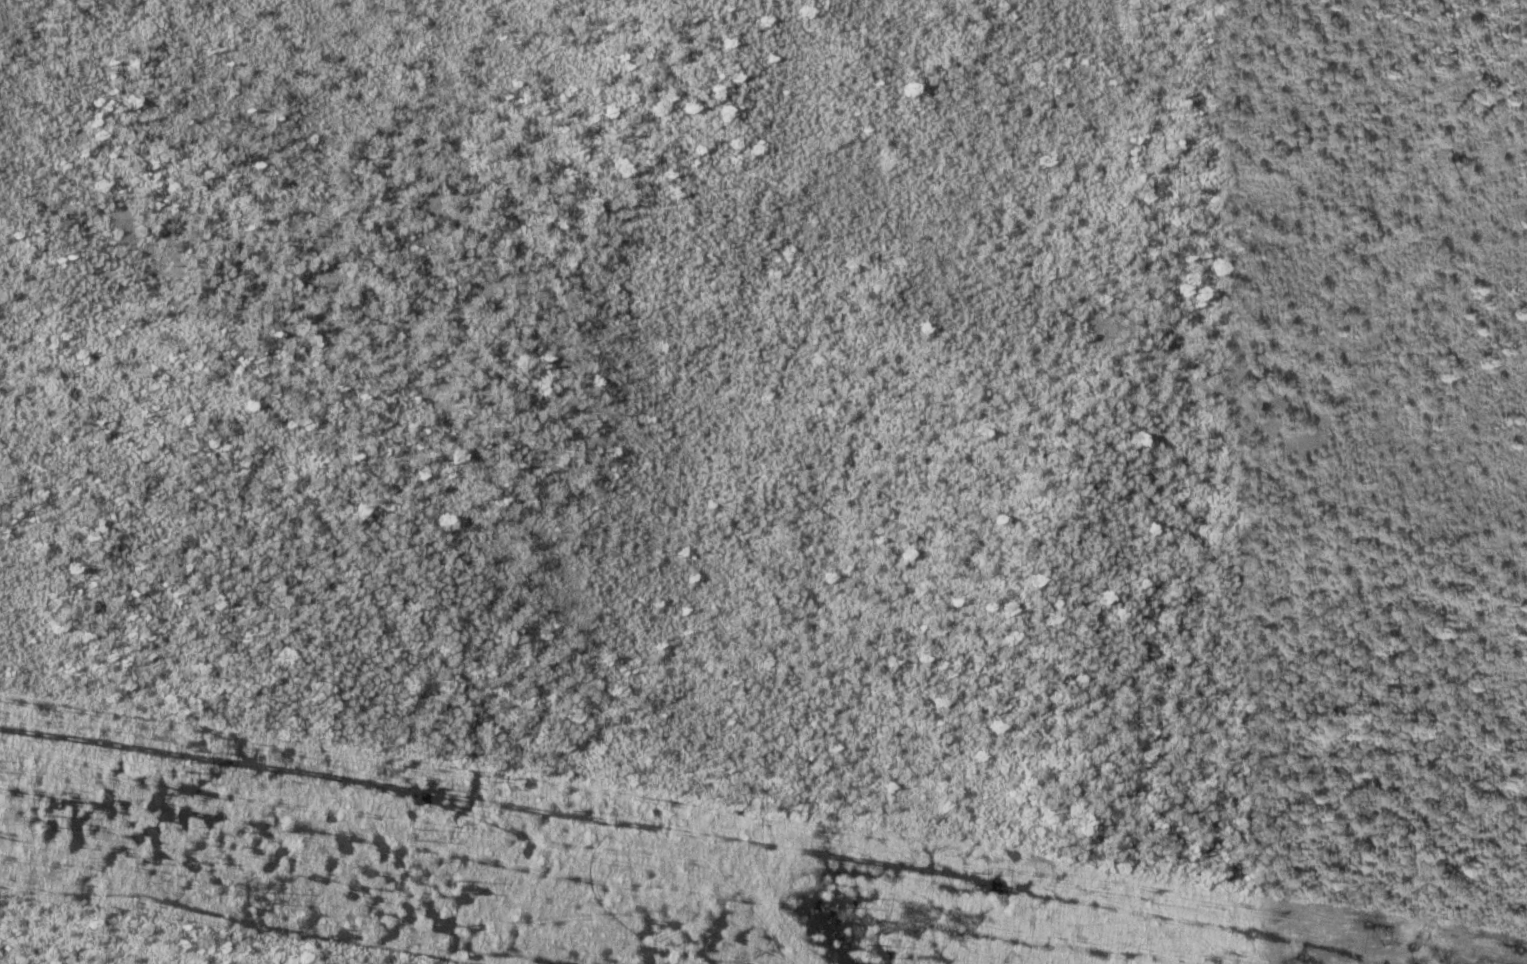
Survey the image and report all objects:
power tower: (193, 751)
power tower: (575, 810)
power tower: (41, 818)
power tower: (414, 829)
power tower: (971, 872)
power tower: (457, 882)
power tower: (267, 895)
power tower: (850, 895)
power tower: (1385, 935)
power tower: (866, 947)
power tower: (1269, 958)

